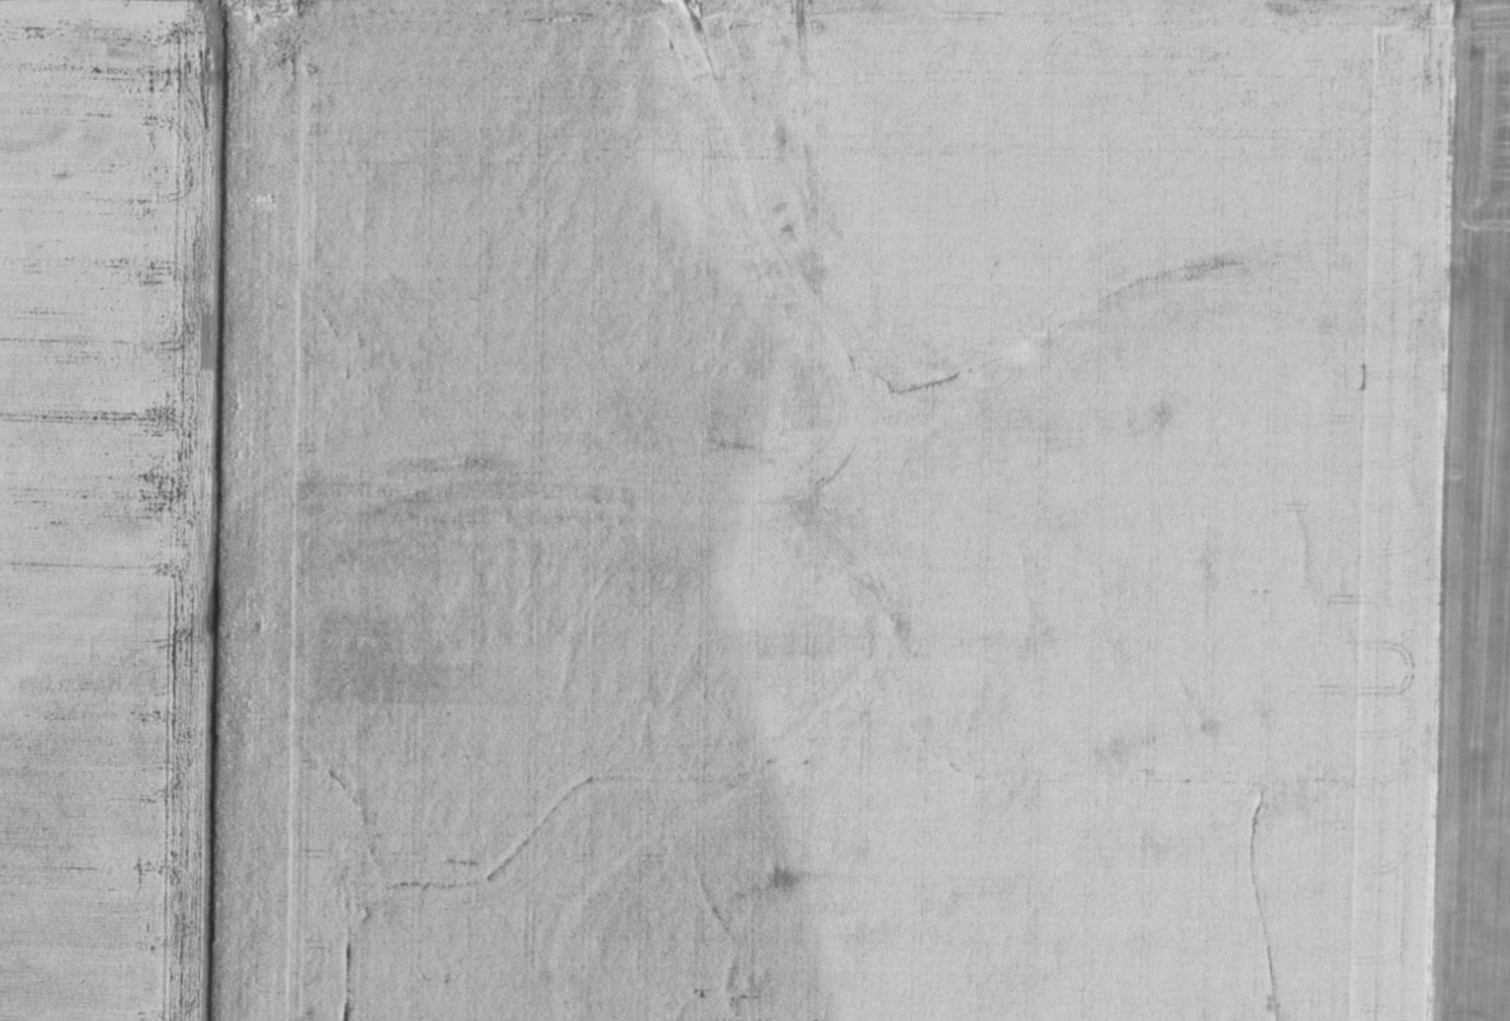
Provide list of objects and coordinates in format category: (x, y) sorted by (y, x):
road: (1468, 0)

